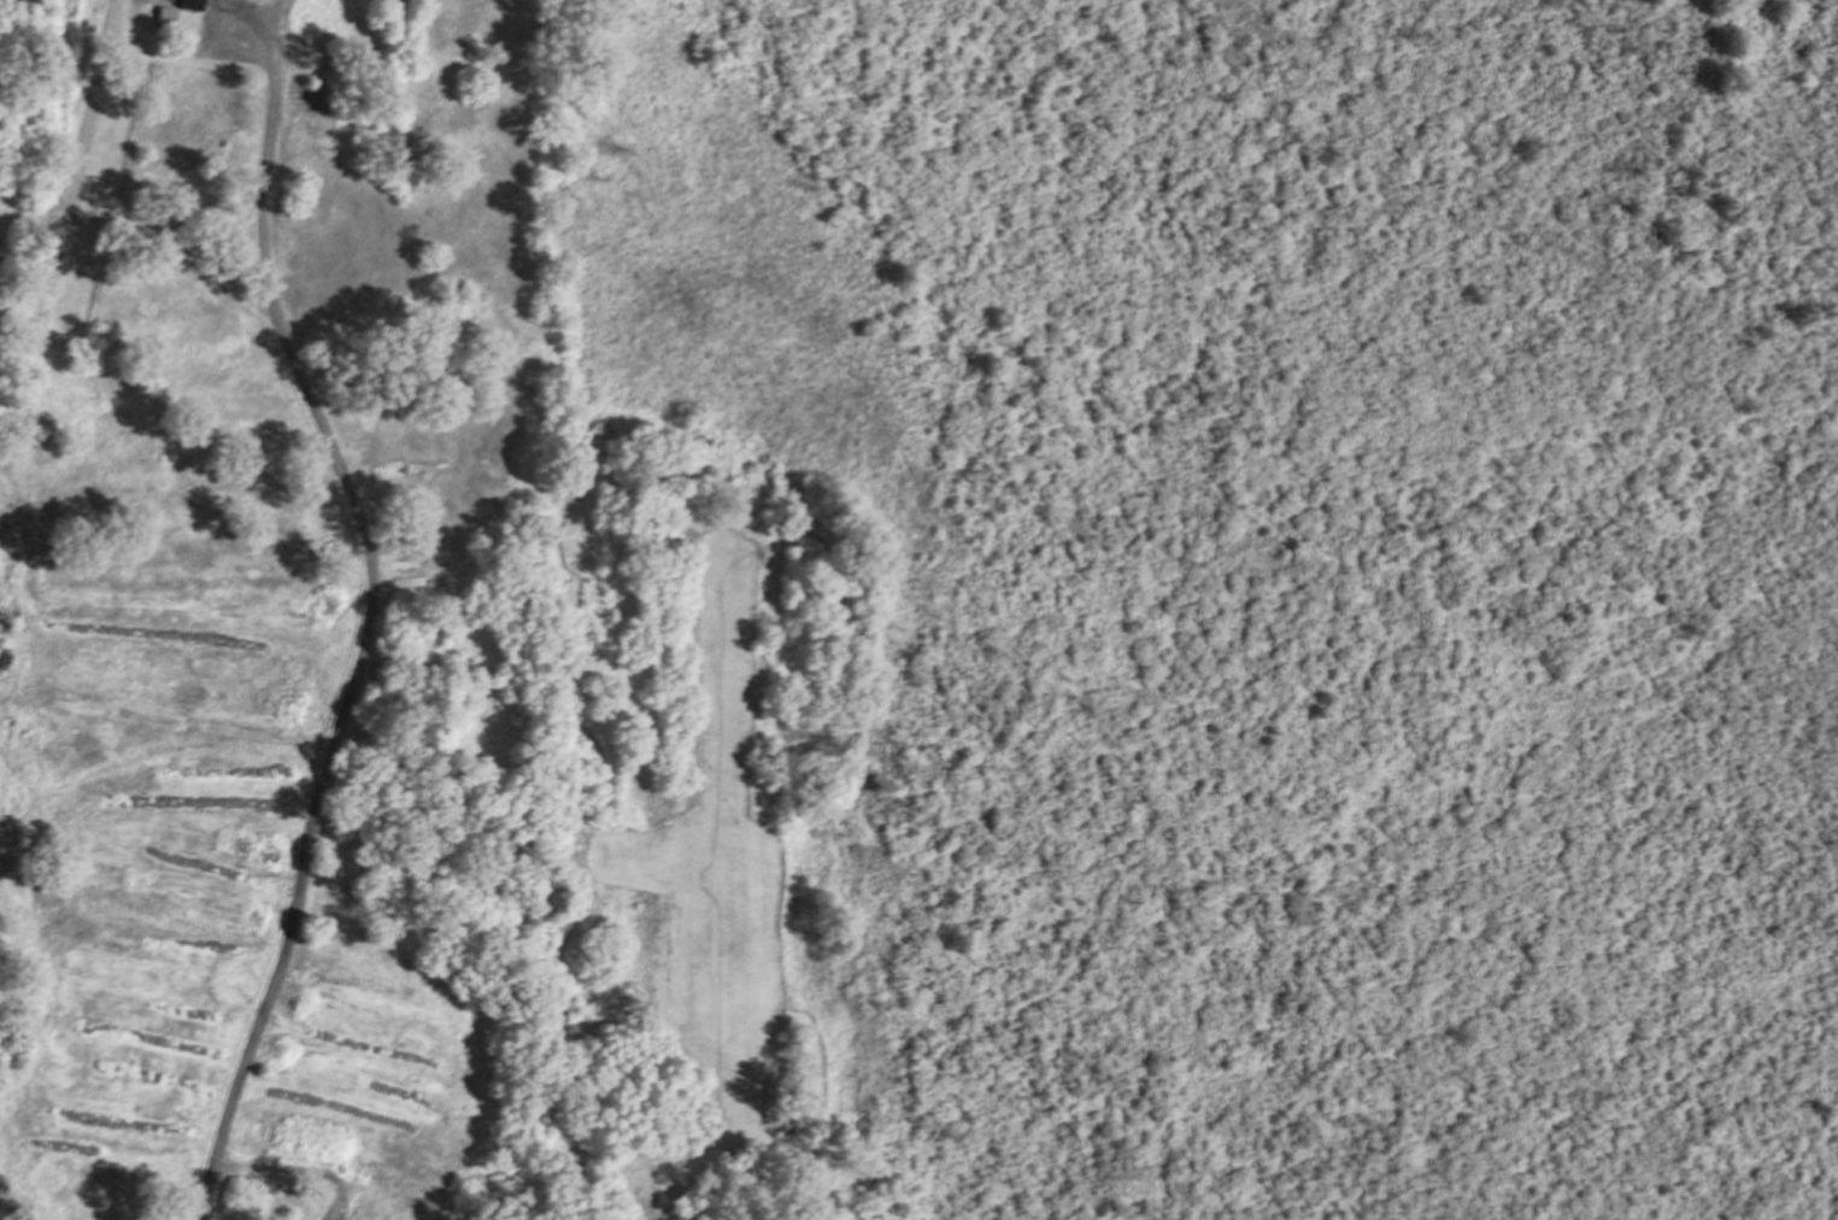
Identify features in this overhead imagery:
building: (188, 4)
road: (351, 644)

